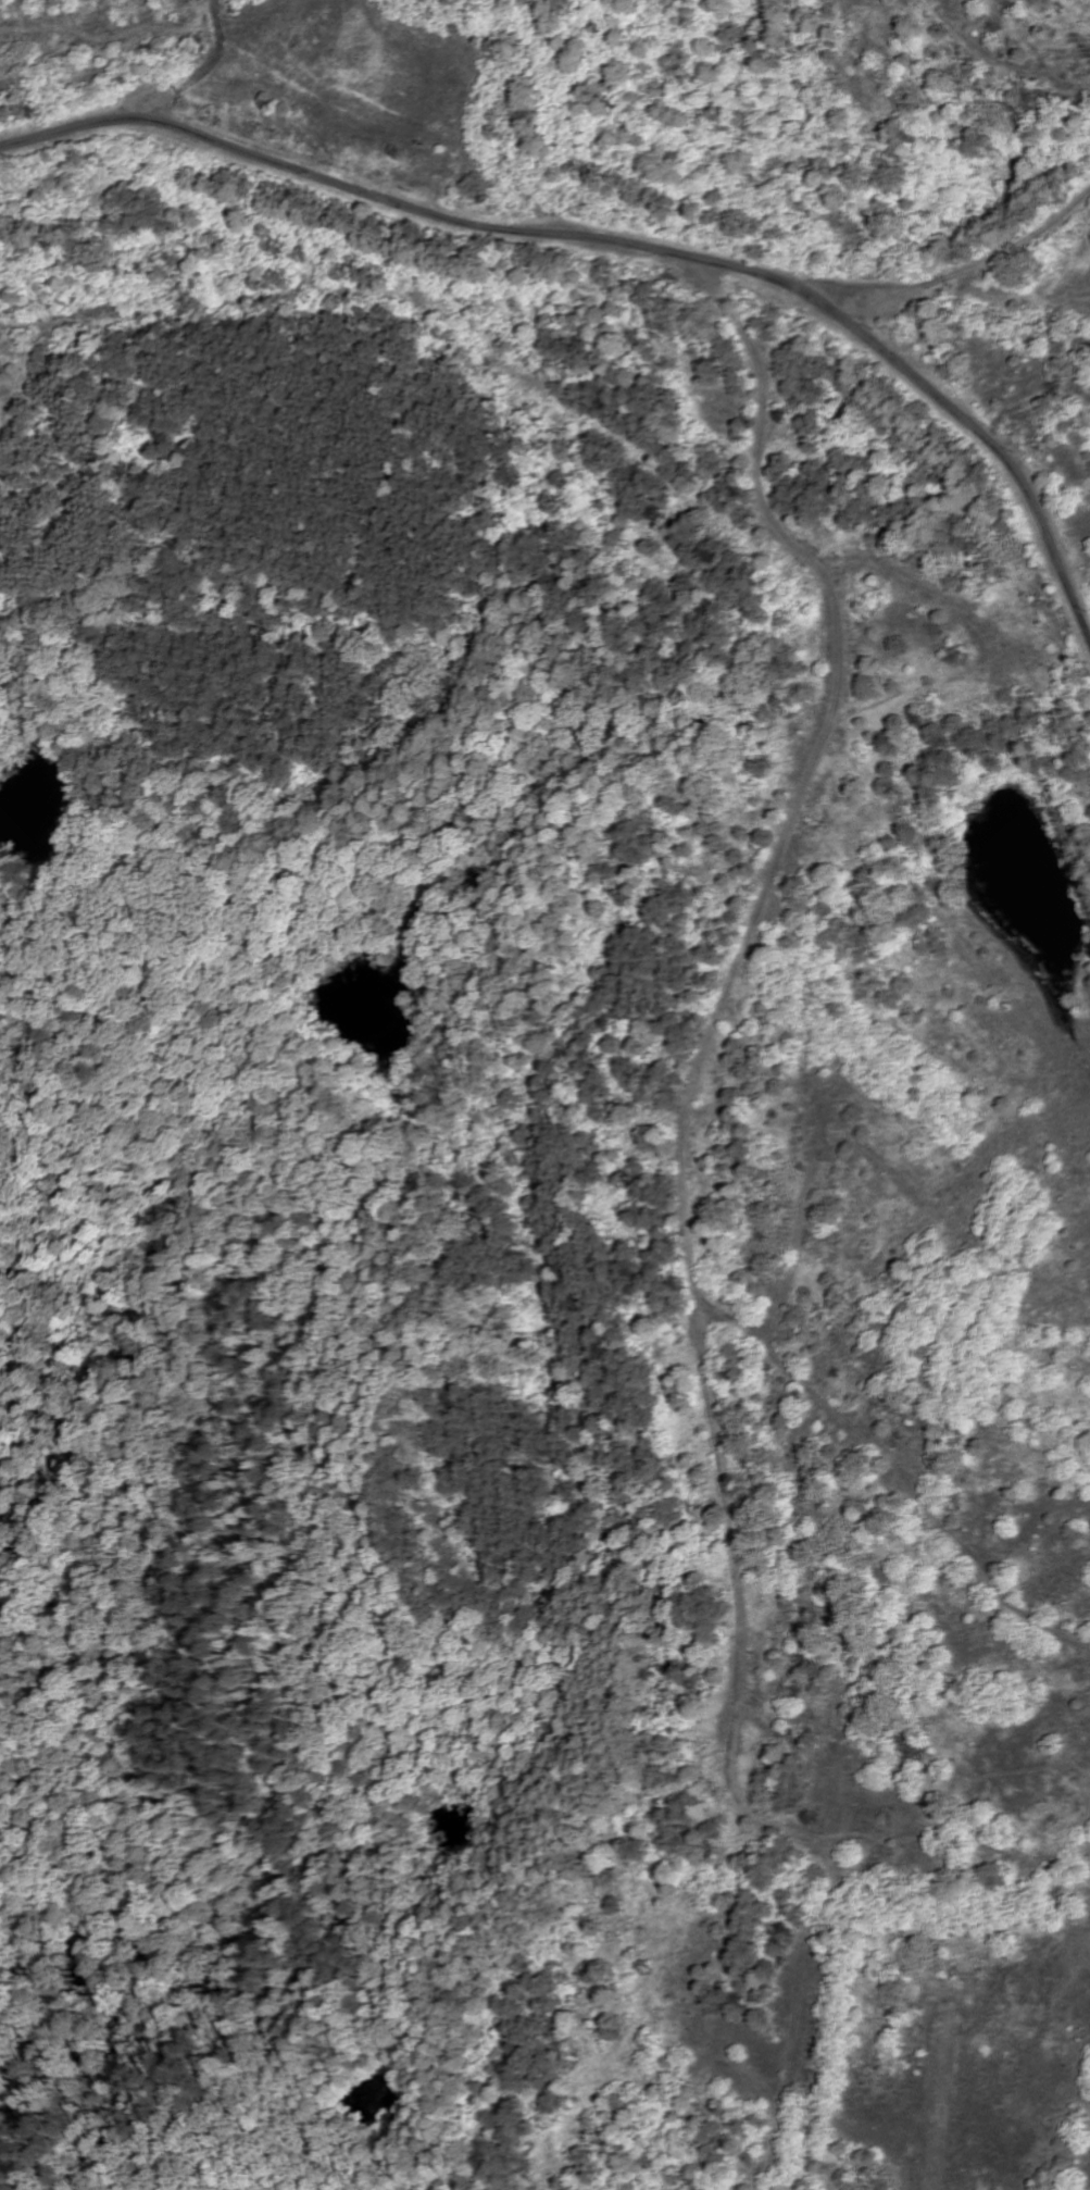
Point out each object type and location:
road: (205, 70)
road: (621, 239)
road: (965, 266)
road: (694, 1224)
road: (909, 1463)

